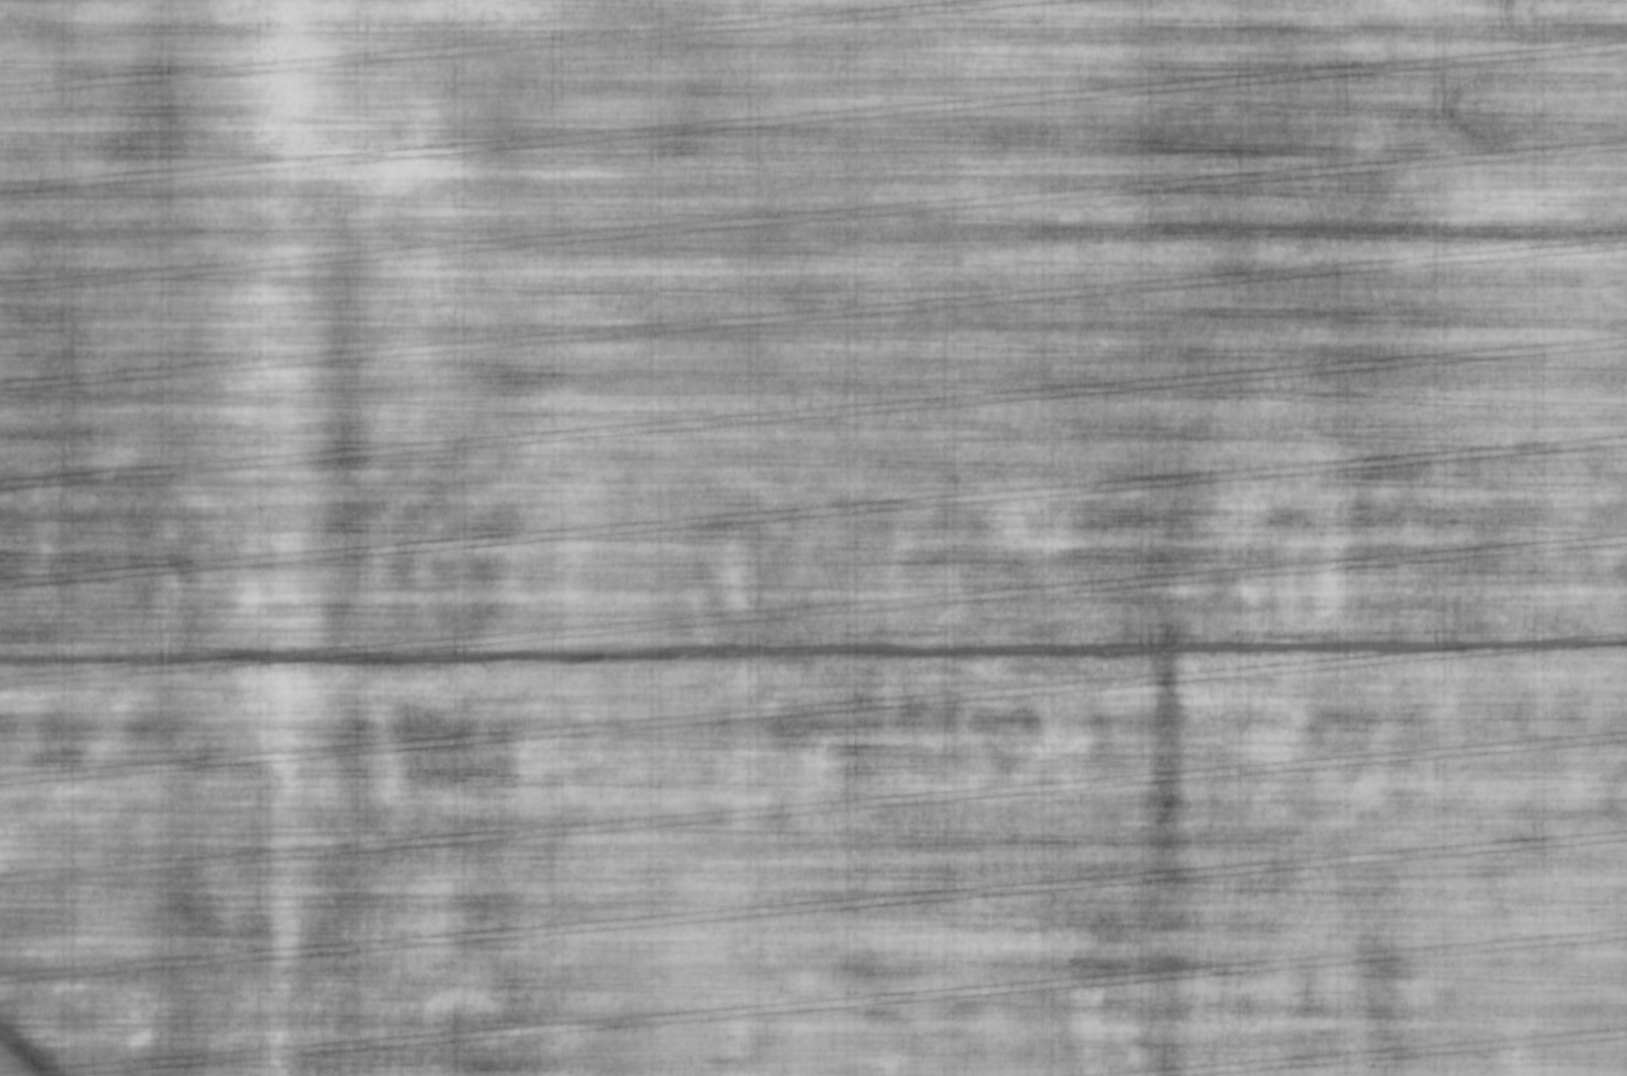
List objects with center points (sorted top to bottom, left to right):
crop: (813, 537)

